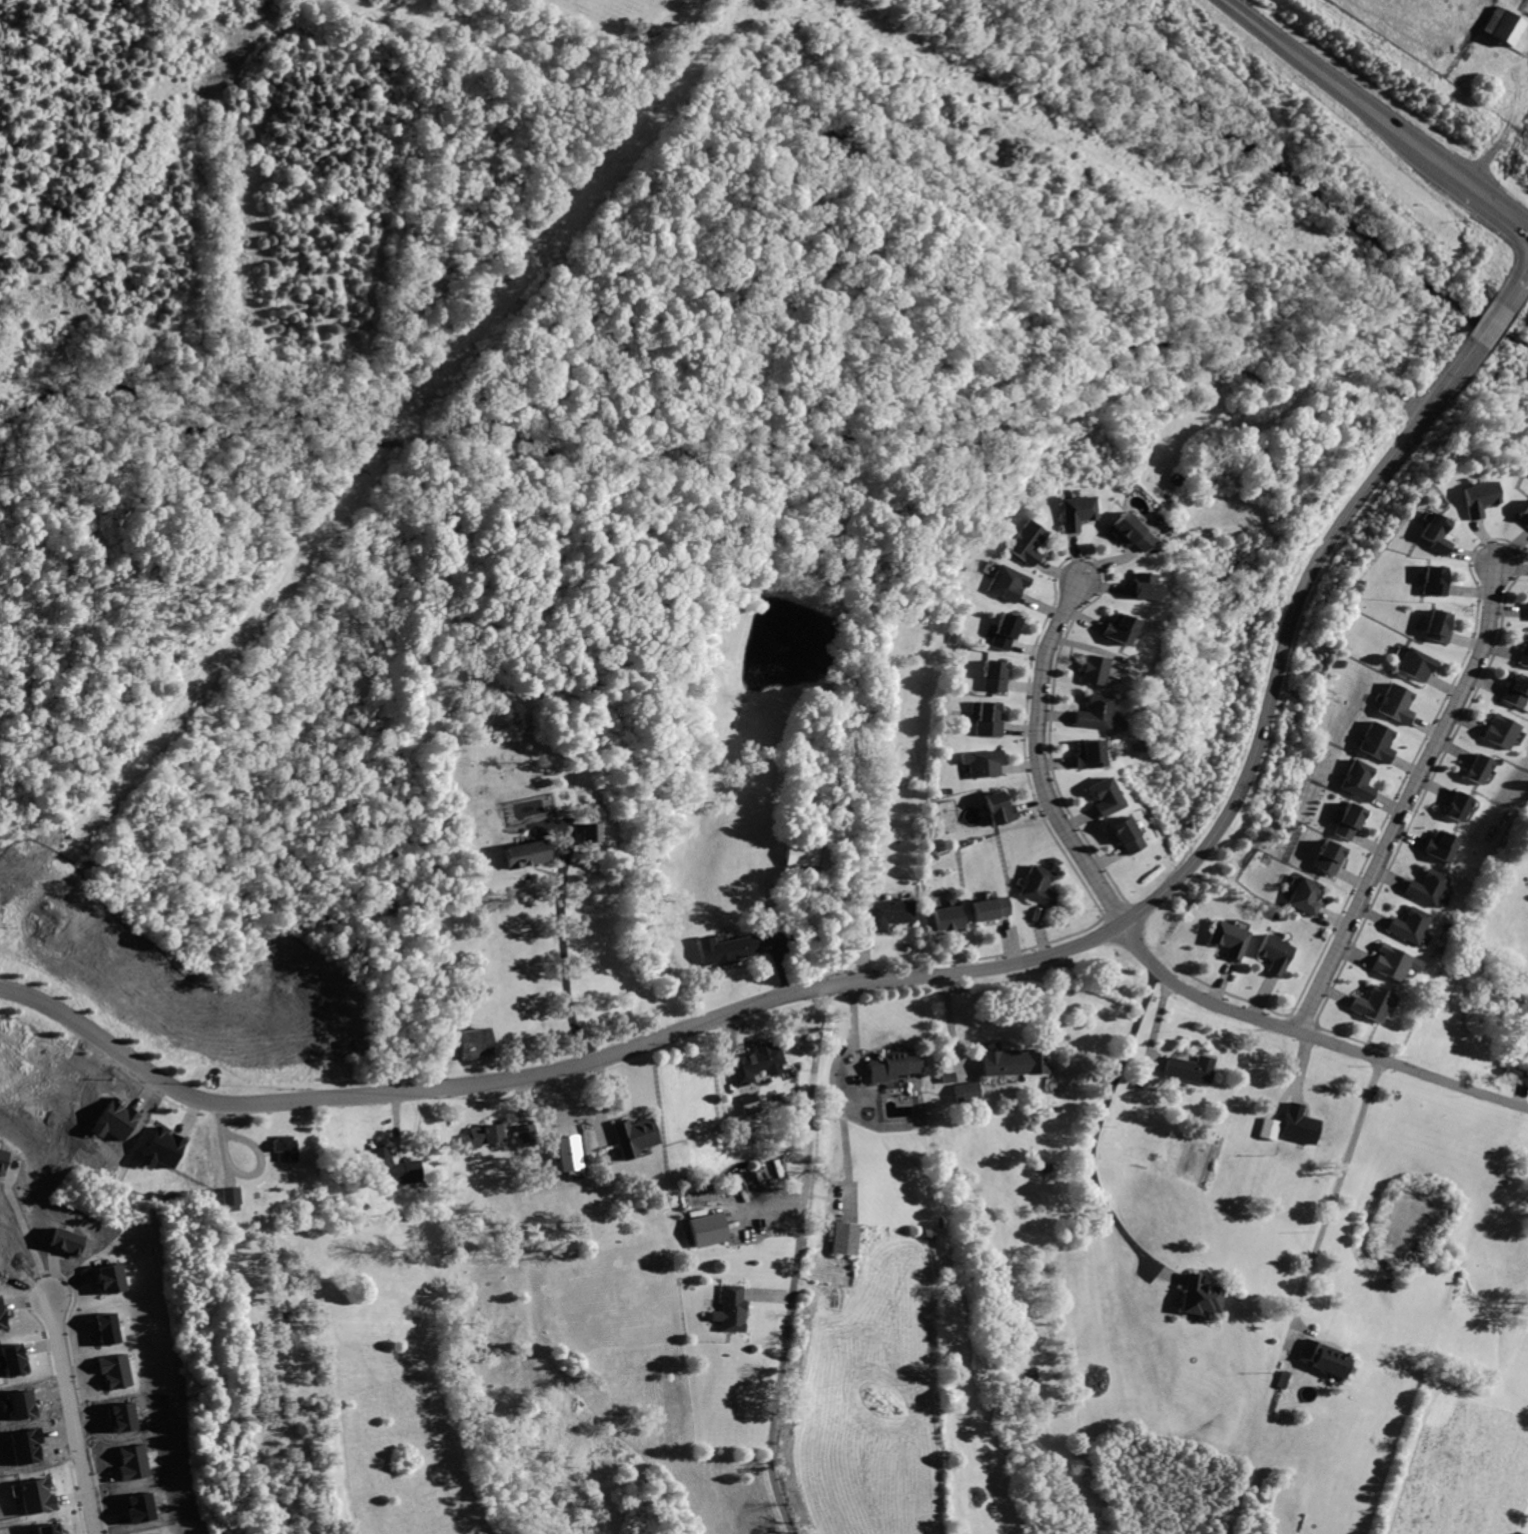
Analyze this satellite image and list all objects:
building: (1503, 26)
crop: (1424, 76)
road: (1334, 86)
road: (1489, 200)
road: (1517, 291)
road: (1499, 316)
road: (1486, 334)
building: (1473, 497)
building: (1071, 512)
building: (1522, 513)
building: (1126, 531)
building: (1433, 535)
building: (1021, 543)
building: (1432, 579)
building: (1004, 582)
building: (1139, 585)
building: (1436, 626)
building: (1118, 628)
building: (1003, 631)
road: (1287, 631)
building: (1522, 656)
building: (1415, 663)
building: (1093, 669)
building: (994, 675)
building: (1515, 692)
building: (1394, 703)
building: (1093, 712)
building: (987, 718)
building: (1500, 731)
building: (1376, 741)
building: (1085, 753)
building: (983, 761)
road: (1038, 763)
building: (1478, 769)
building: (1356, 780)
building: (1100, 796)
road: (1408, 802)
building: (1460, 806)
building: (997, 807)
building: (1346, 820)
building: (589, 833)
building: (1119, 834)
building: (1442, 845)
building: (525, 853)
building: (799, 853)
building: (1324, 857)
building: (1035, 886)
building: (1427, 888)
building: (1302, 895)
building: (987, 907)
building: (886, 912)
building: (946, 917)
building: (1408, 926)
building: (1225, 939)
building: (723, 949)
road: (561, 953)
building: (1273, 955)
building: (1392, 962)
building: (1367, 1004)
road: (1310, 1038)
building: (473, 1042)
building: (1016, 1061)
building: (755, 1062)
building: (894, 1066)
building: (1188, 1068)
road: (554, 1070)
building: (950, 1076)
building: (968, 1091)
building: (748, 1103)
road: (1100, 1121)
building: (1297, 1124)
building: (1267, 1128)
building: (484, 1134)
building: (527, 1134)
building: (633, 1135)
building: (160, 1147)
building: (283, 1147)
building: (569, 1152)
building: (3, 1159)
building: (392, 1167)
building: (229, 1198)
road: (1331, 1198)
building: (707, 1228)
building: (843, 1237)
road: (21, 1241)
building: (66, 1241)
road: (793, 1262)
building: (111, 1277)
building: (1199, 1295)
building: (730, 1308)
building: (1, 1317)
building: (110, 1328)
building: (1323, 1357)
building: (12, 1358)
building: (118, 1370)
road: (75, 1417)
building: (135, 1462)
building: (37, 1496)
building: (141, 1507)
building: (48, 1528)
building: (162, 1533)

